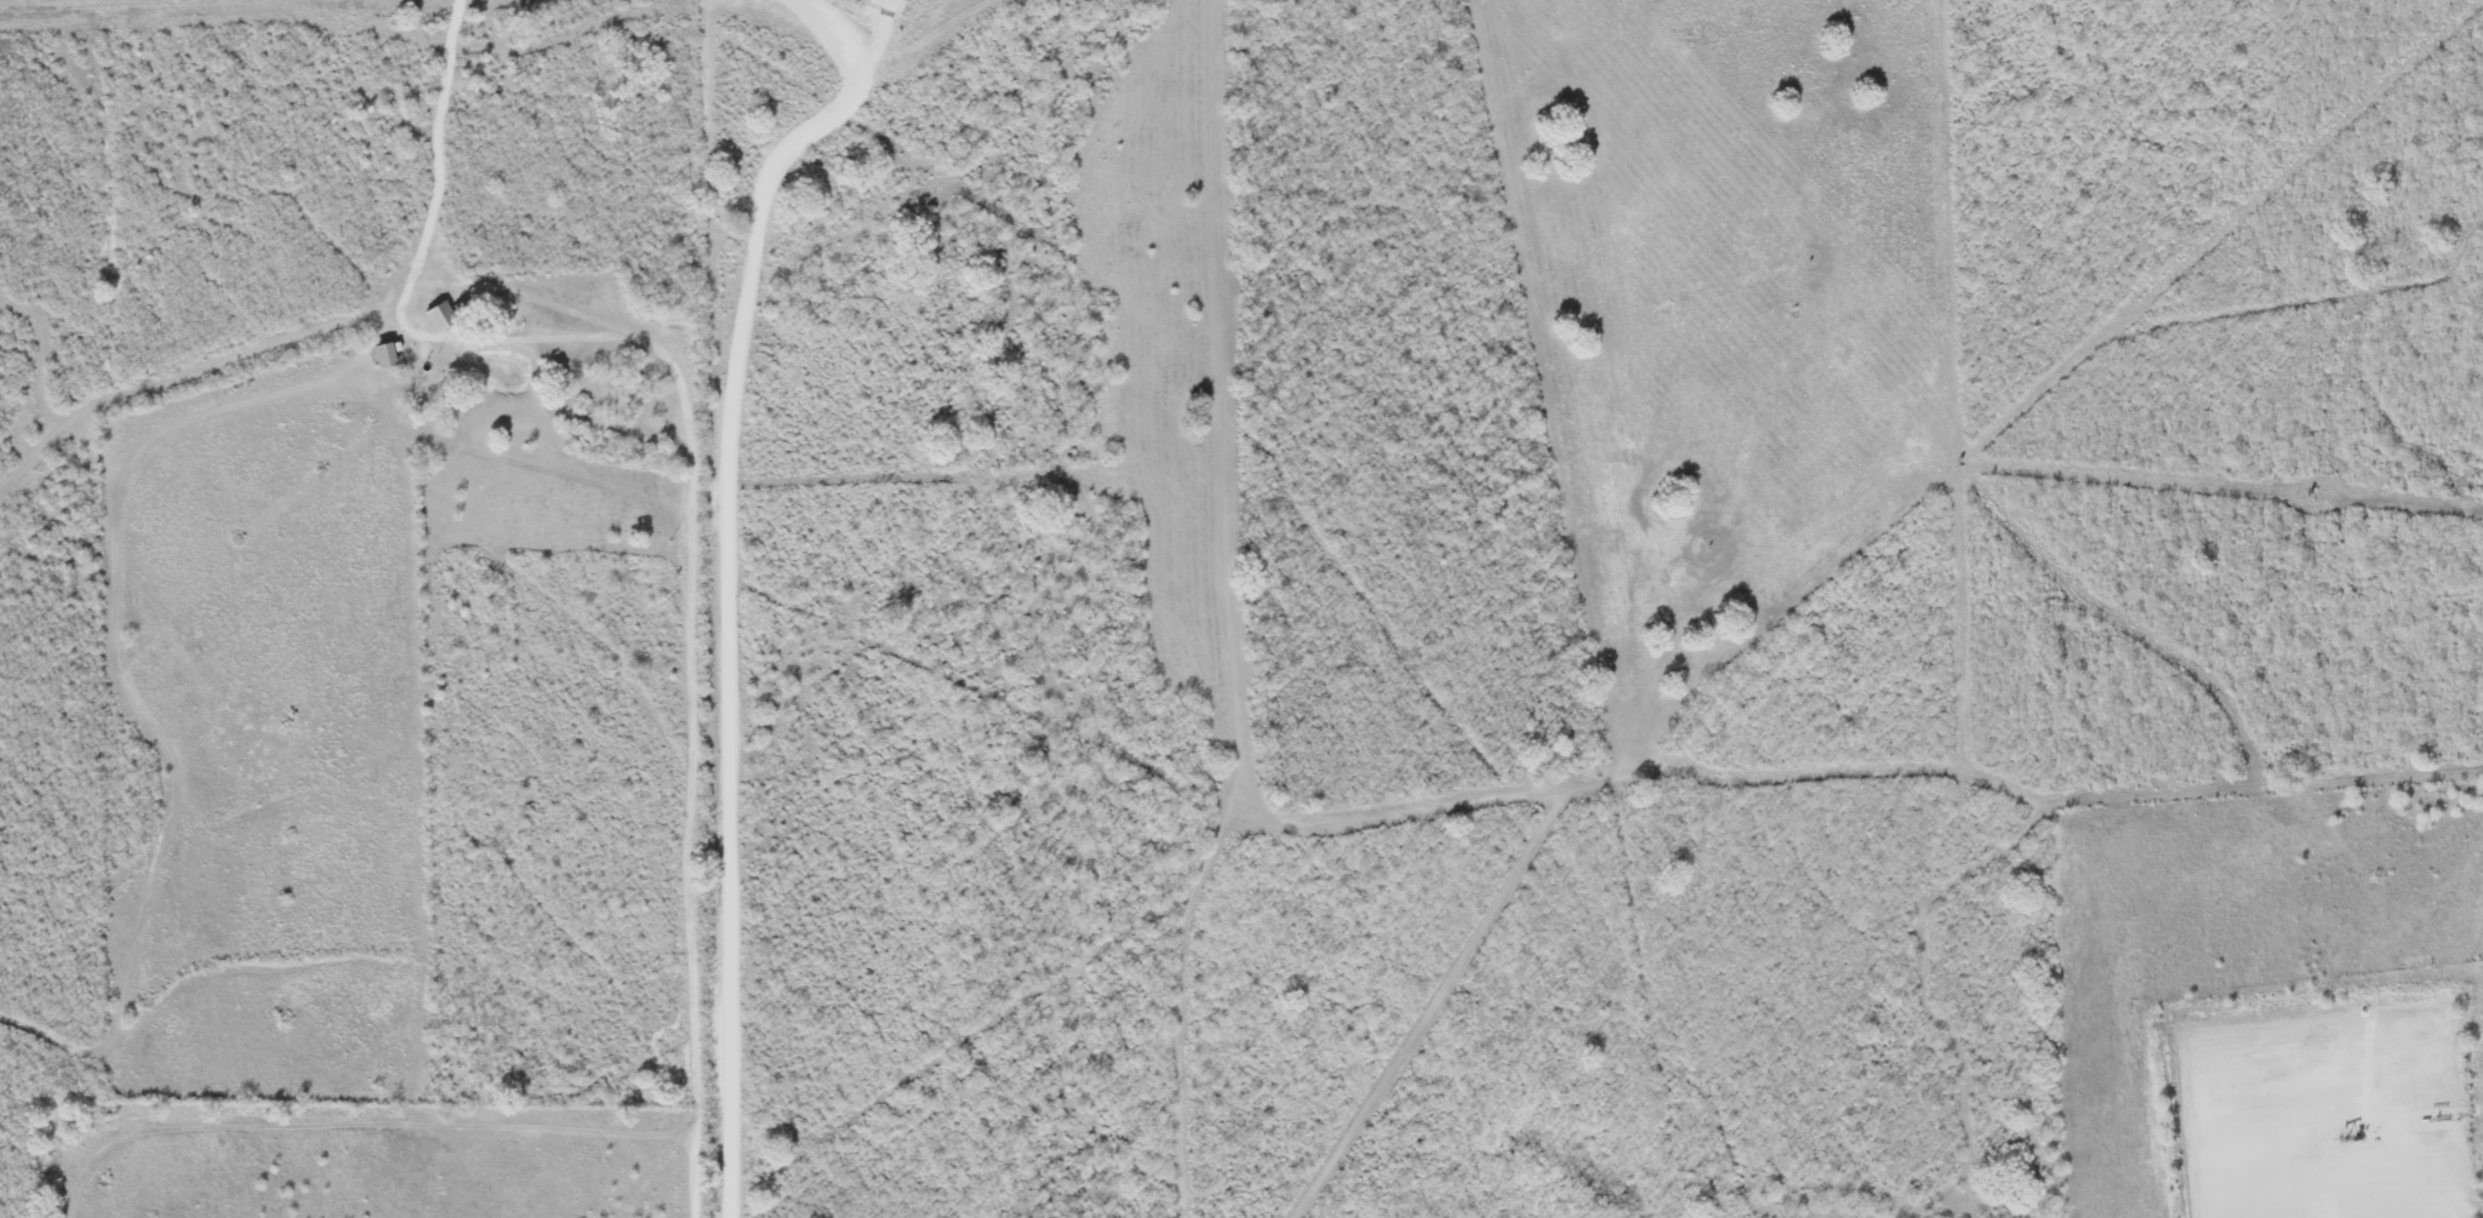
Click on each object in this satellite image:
road: (828, 45)
building: (438, 319)
building: (381, 358)
road: (726, 576)
road: (687, 702)
road: (2327, 1195)

